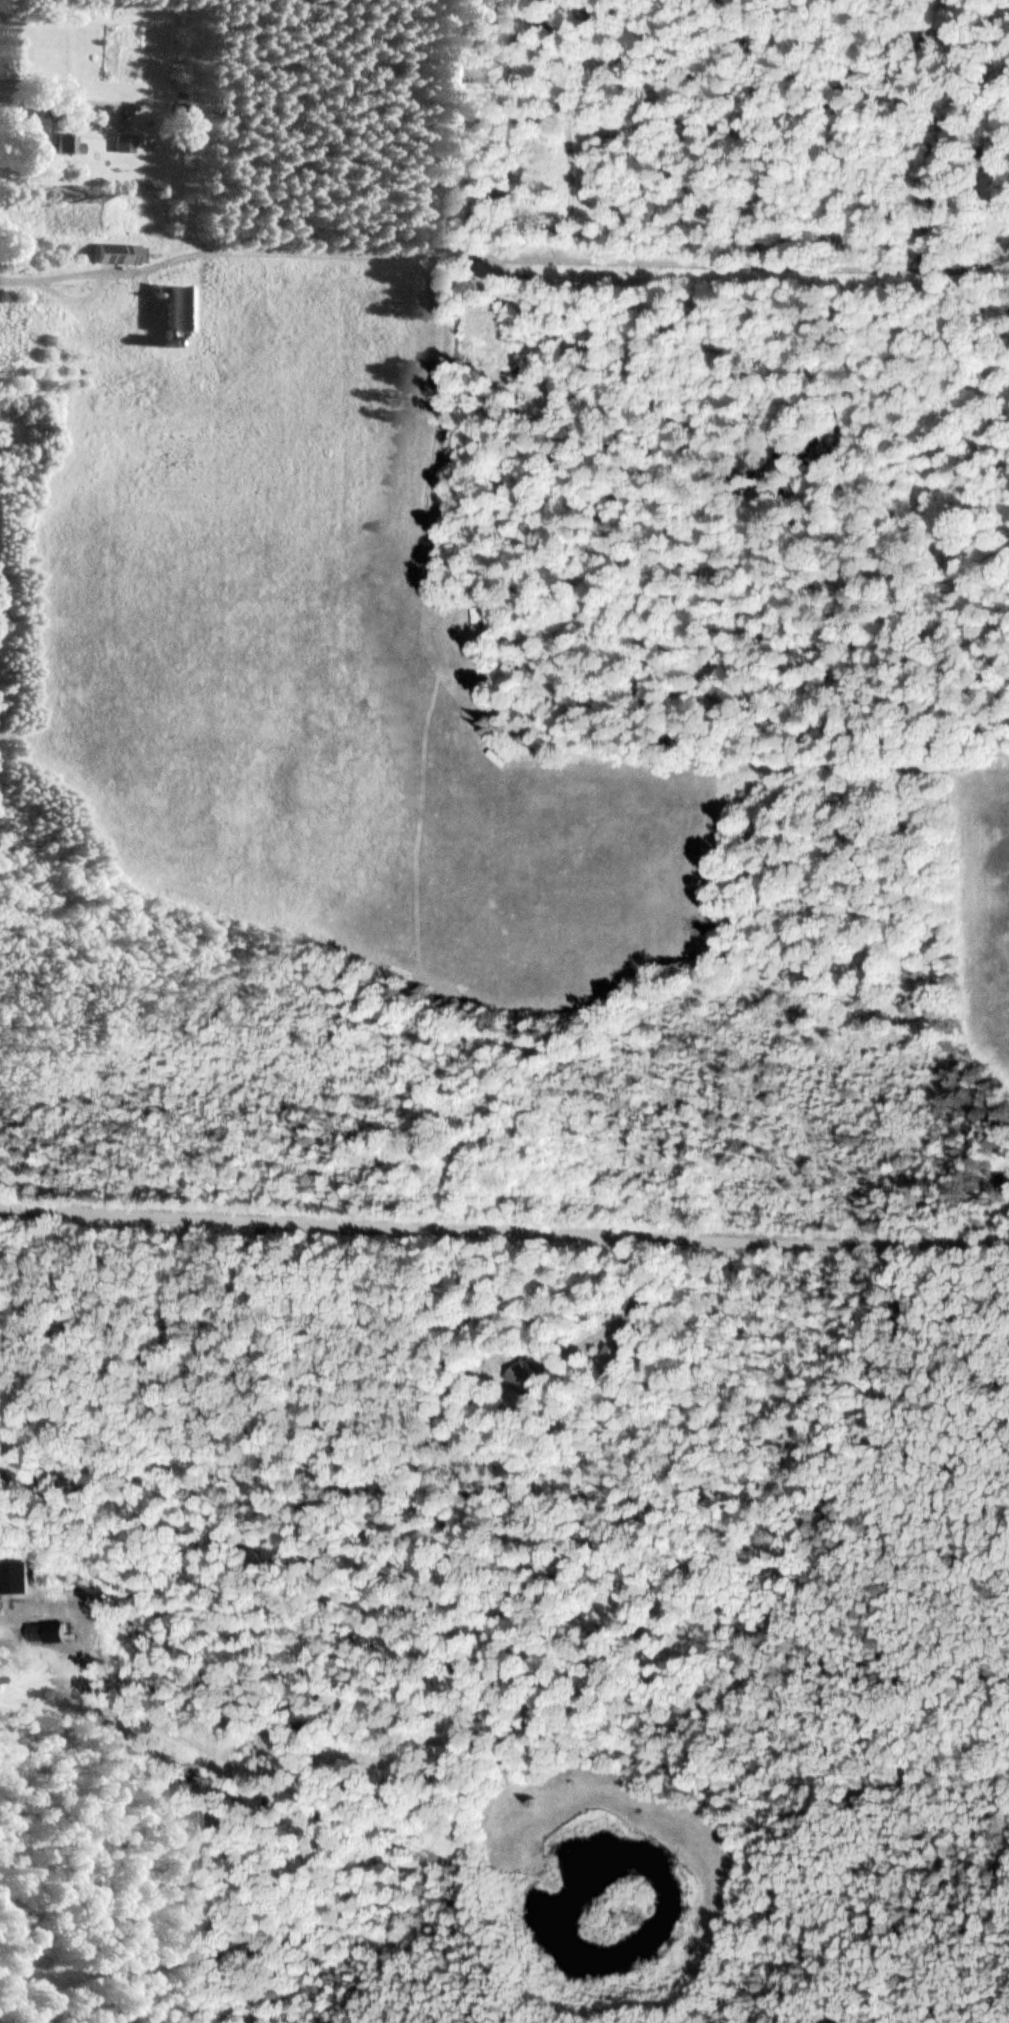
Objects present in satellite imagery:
road: (52, 98)
building: (123, 143)
building: (66, 144)
road: (555, 260)
road: (19, 282)
road: (99, 286)
building: (32, 320)
road: (504, 1233)
road: (8, 1621)
building: (34, 1632)

